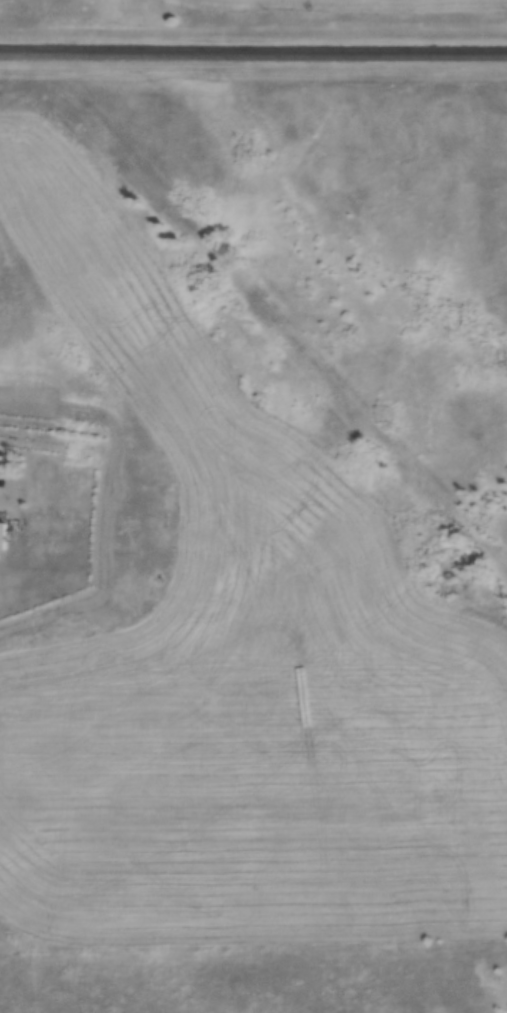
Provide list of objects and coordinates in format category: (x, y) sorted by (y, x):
road: (253, 51)
building: (1, 535)

